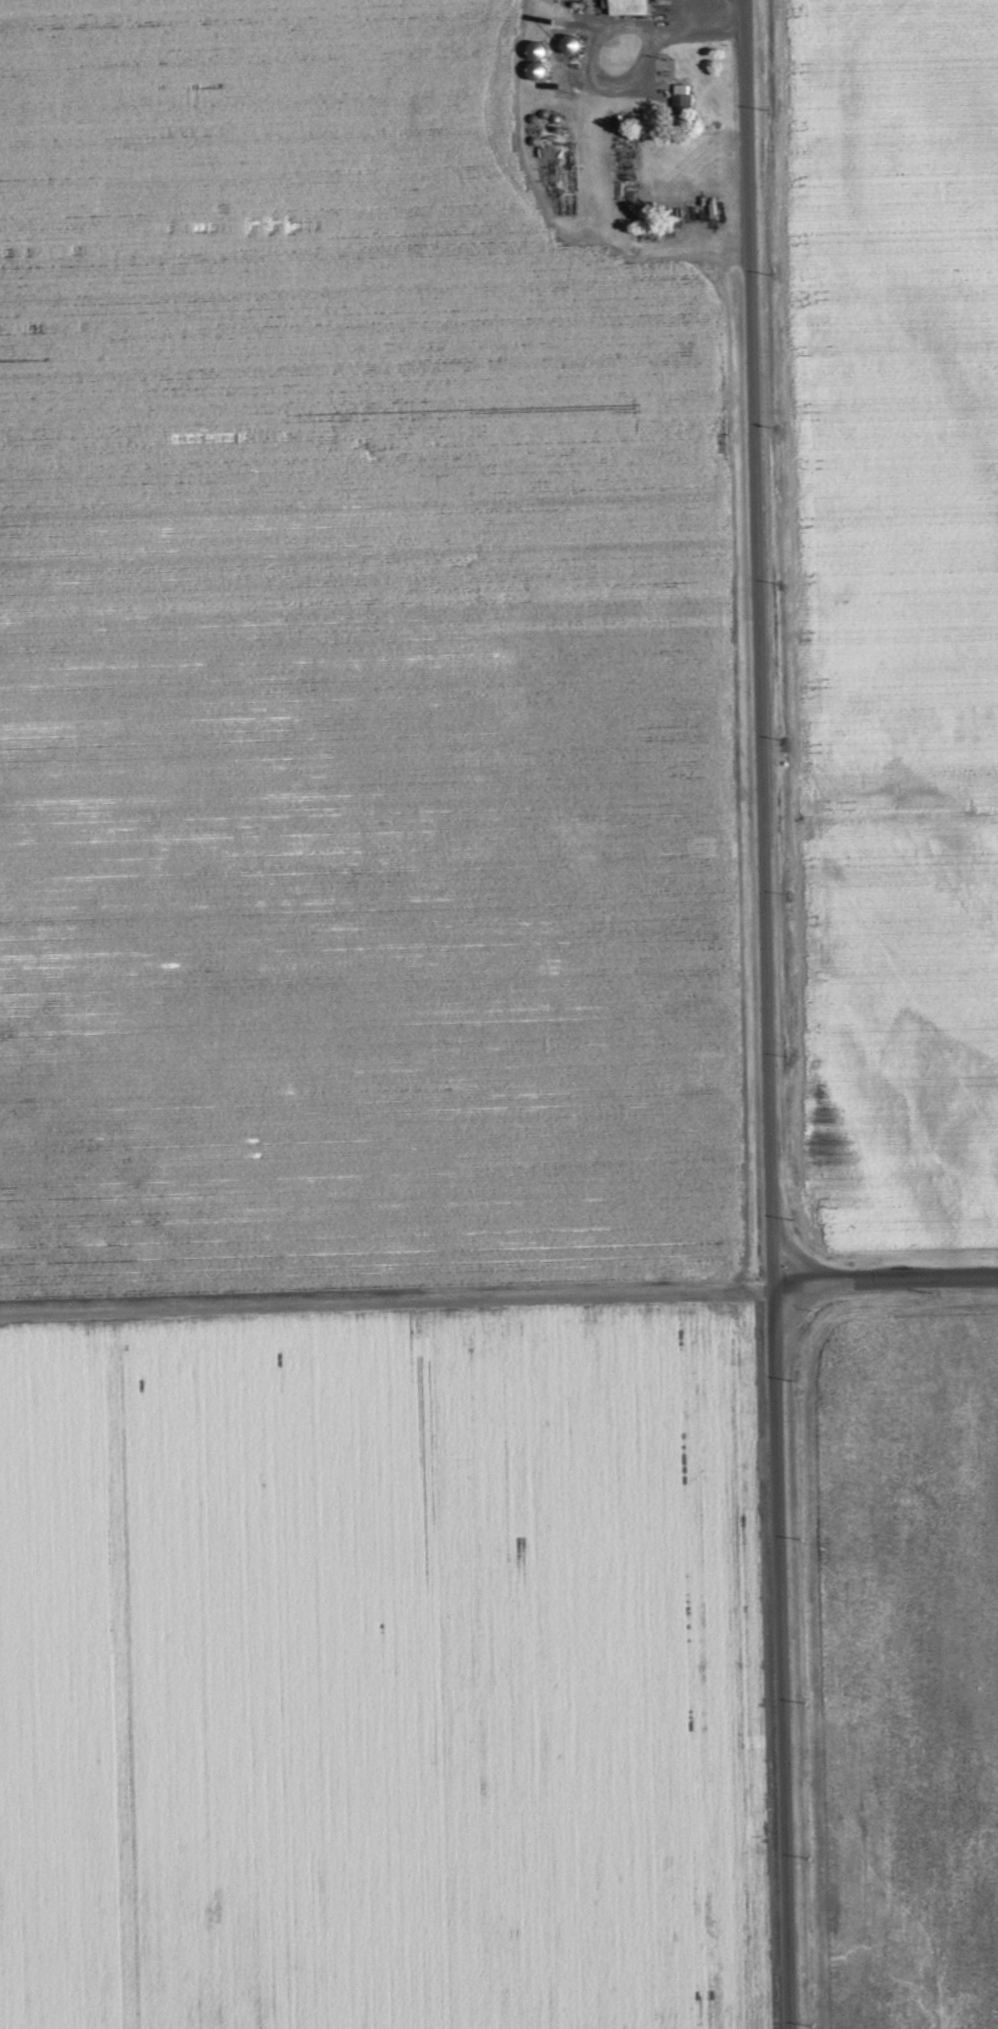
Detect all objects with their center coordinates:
building: (627, 8)
road: (684, 25)
road: (765, 1014)
road: (884, 1274)

